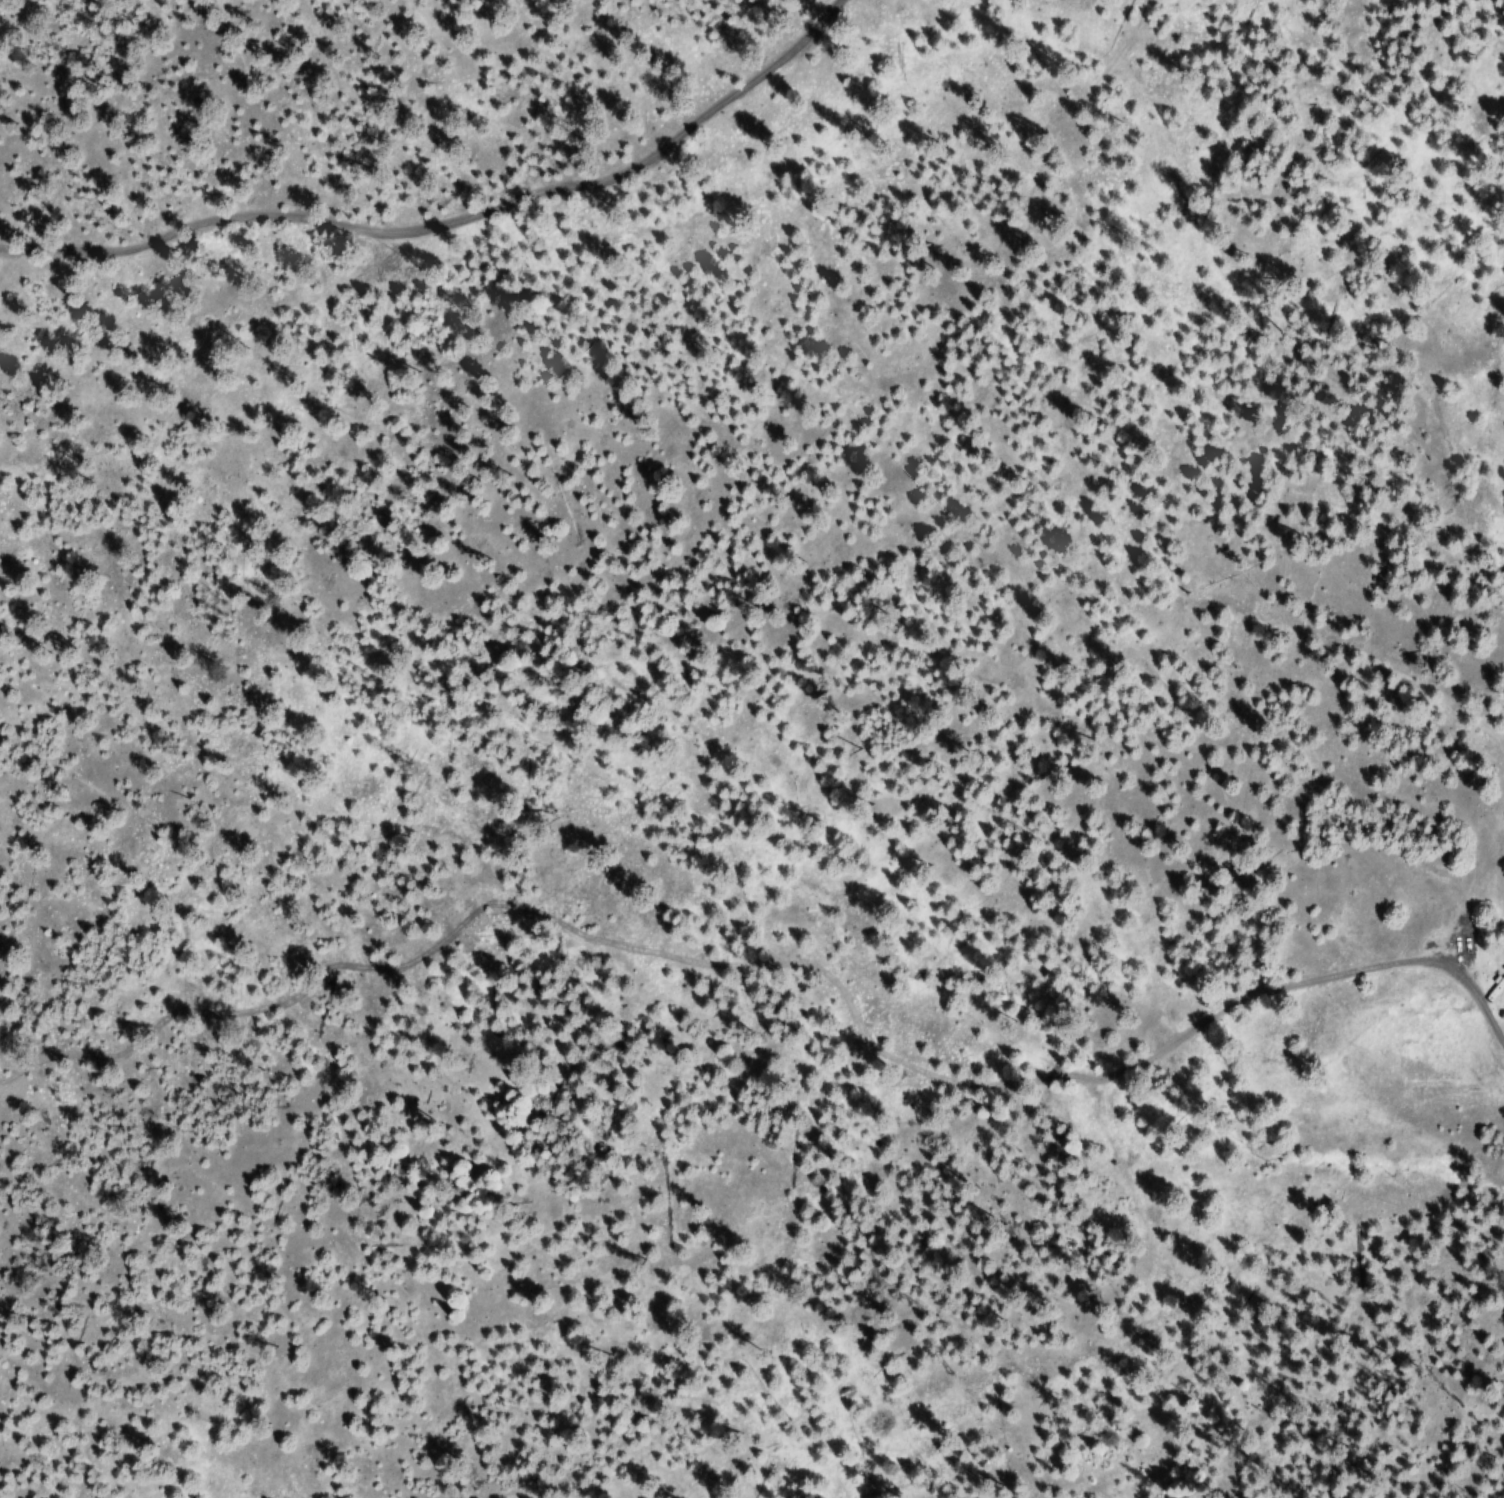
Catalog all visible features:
road: (444, 196)

